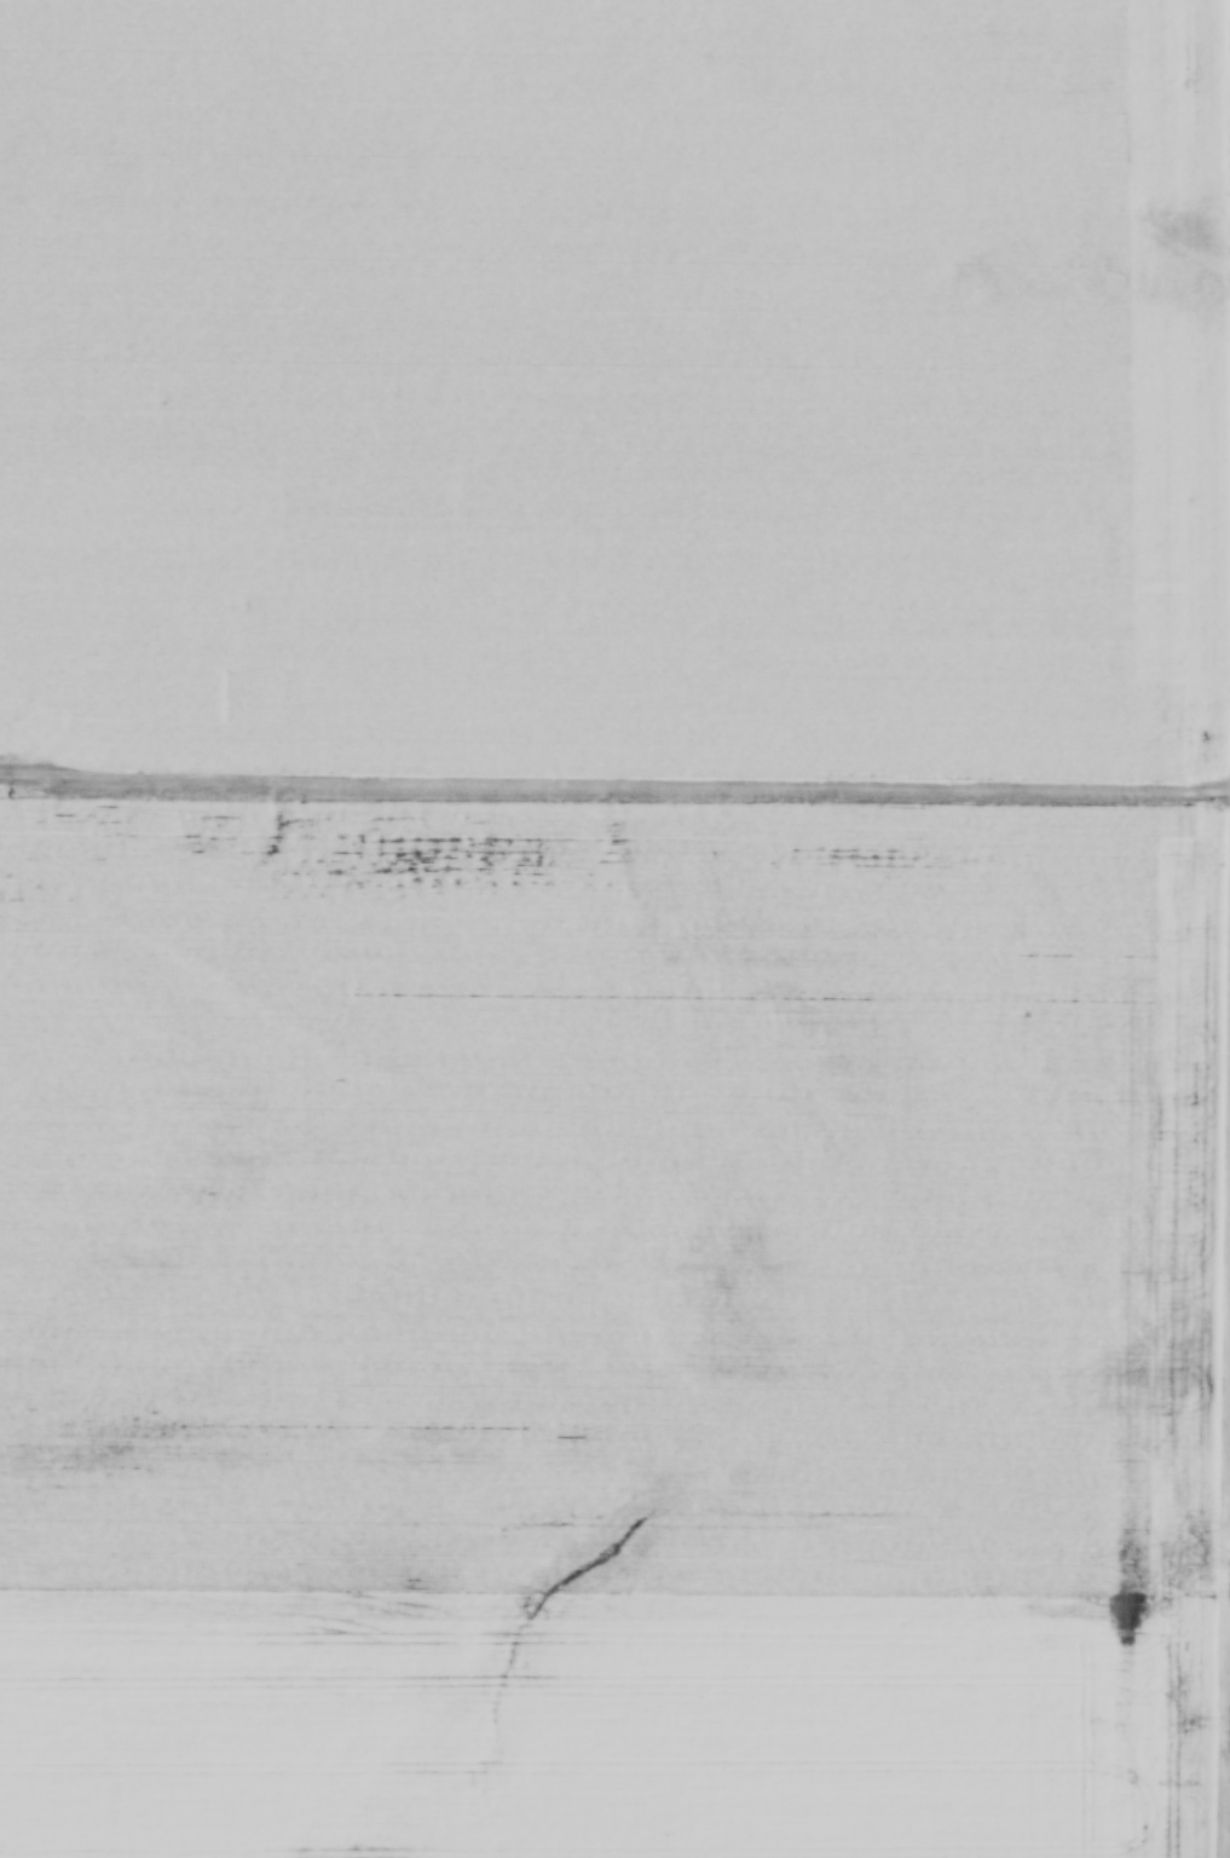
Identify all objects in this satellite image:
road: (614, 775)

